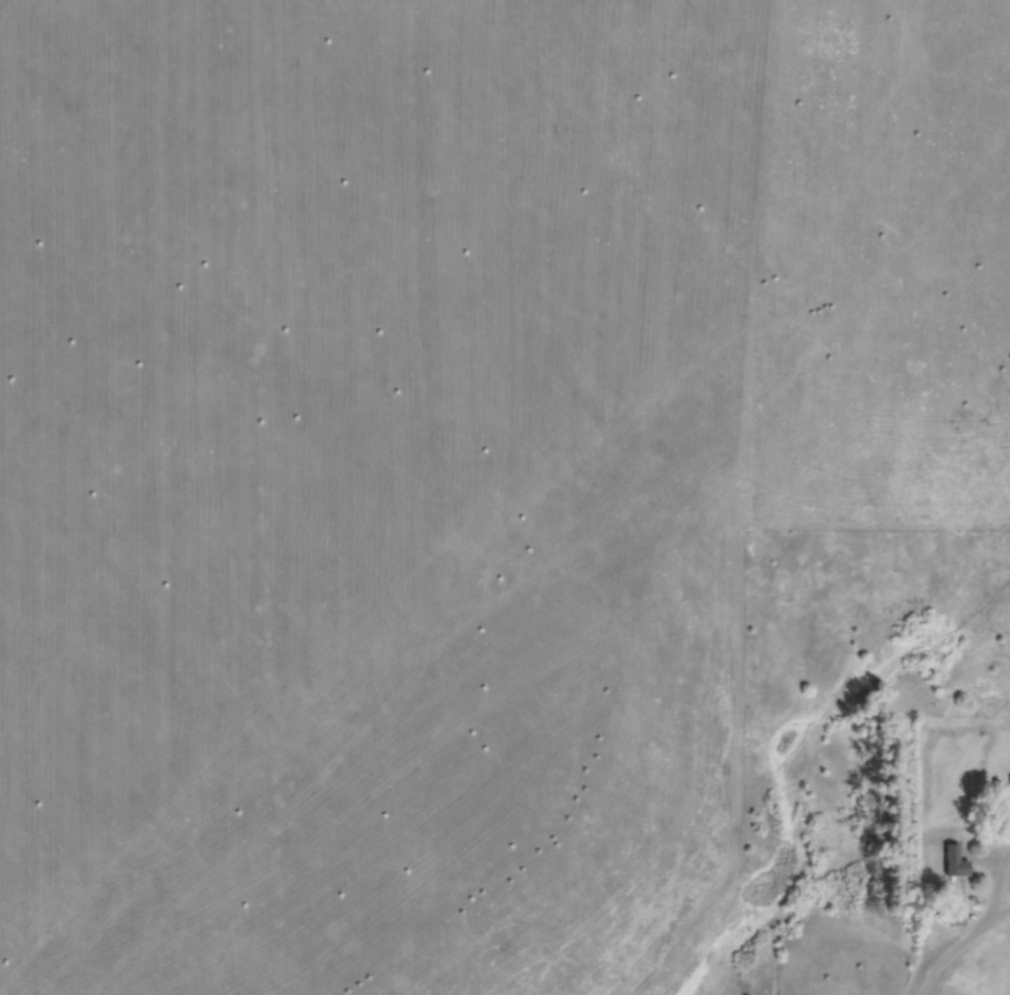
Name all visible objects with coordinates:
building: (898, 232)
building: (919, 328)
building: (879, 365)
building: (950, 471)
building: (952, 858)
building: (954, 915)

